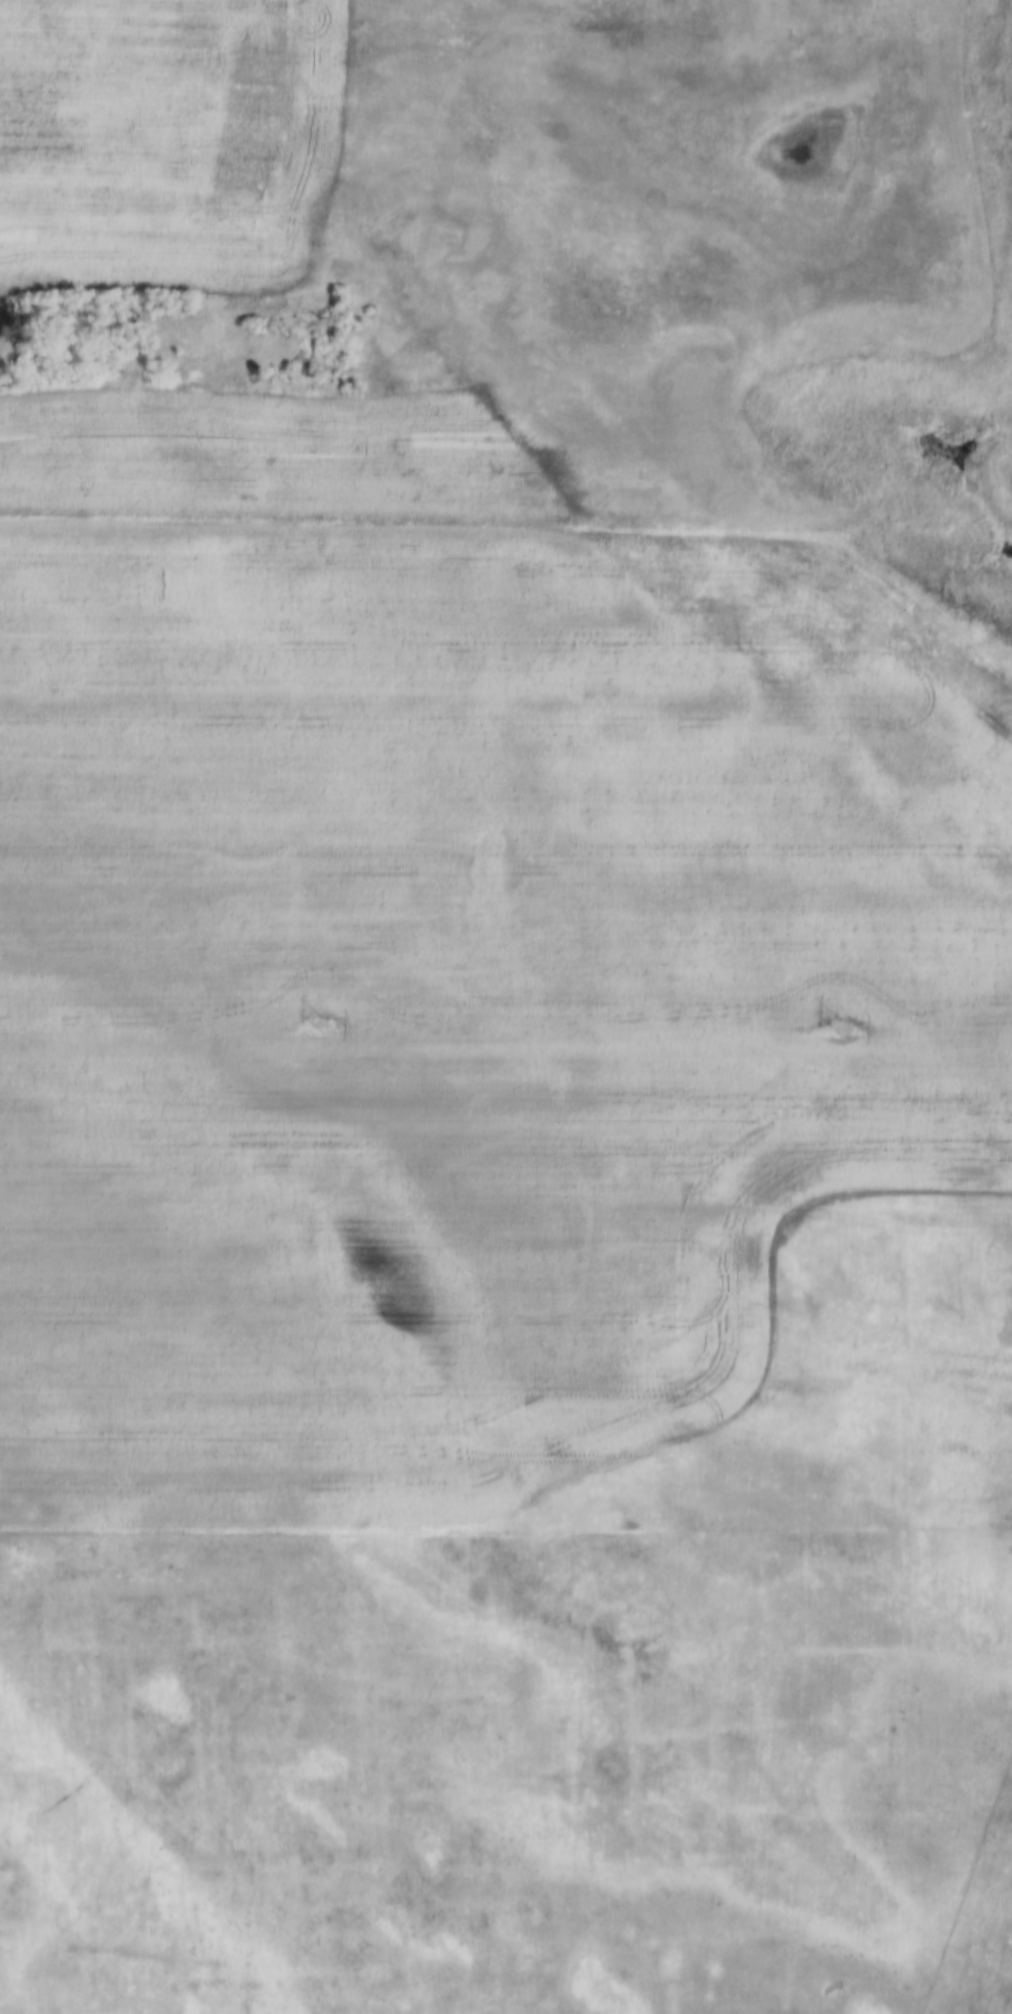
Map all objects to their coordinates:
power tower: (322, 1027)
power tower: (841, 1028)

